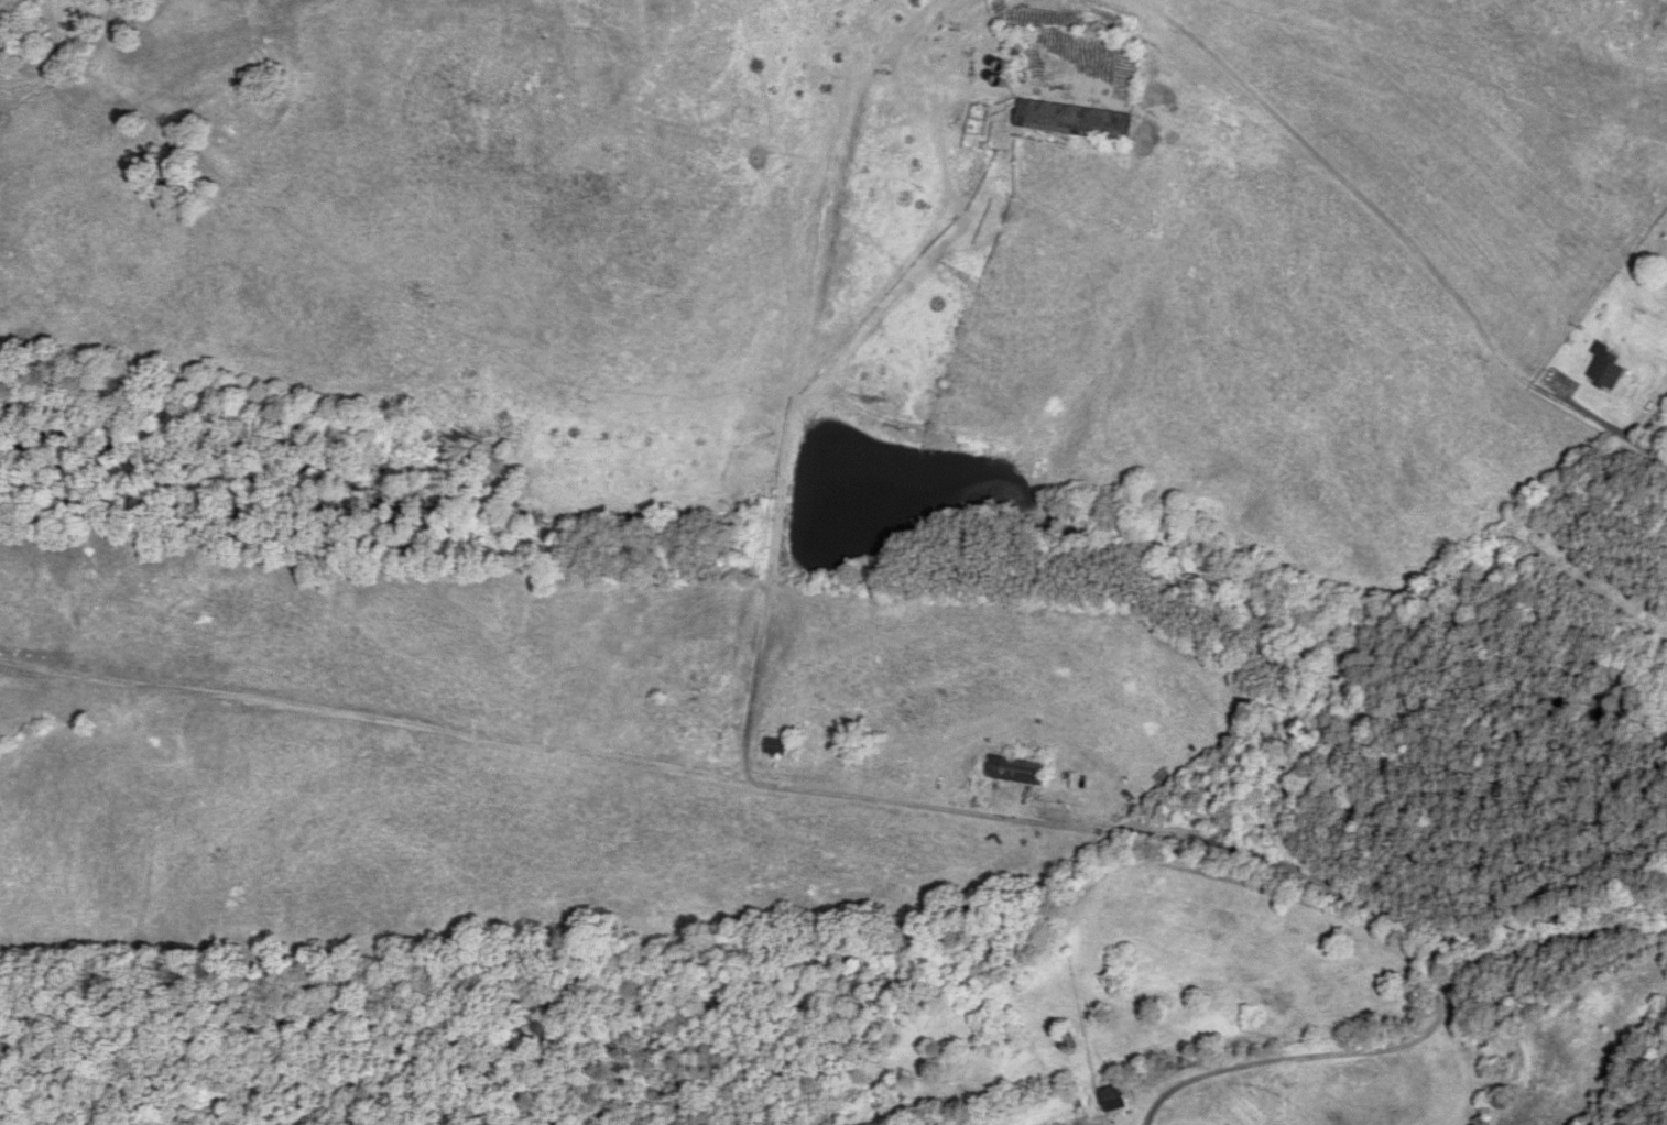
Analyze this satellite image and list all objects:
building: (1077, 121)
building: (1608, 369)
road: (1603, 435)
road: (195, 696)
building: (777, 749)
building: (1017, 772)
road: (710, 777)
road: (1416, 1039)
building: (1115, 1099)

